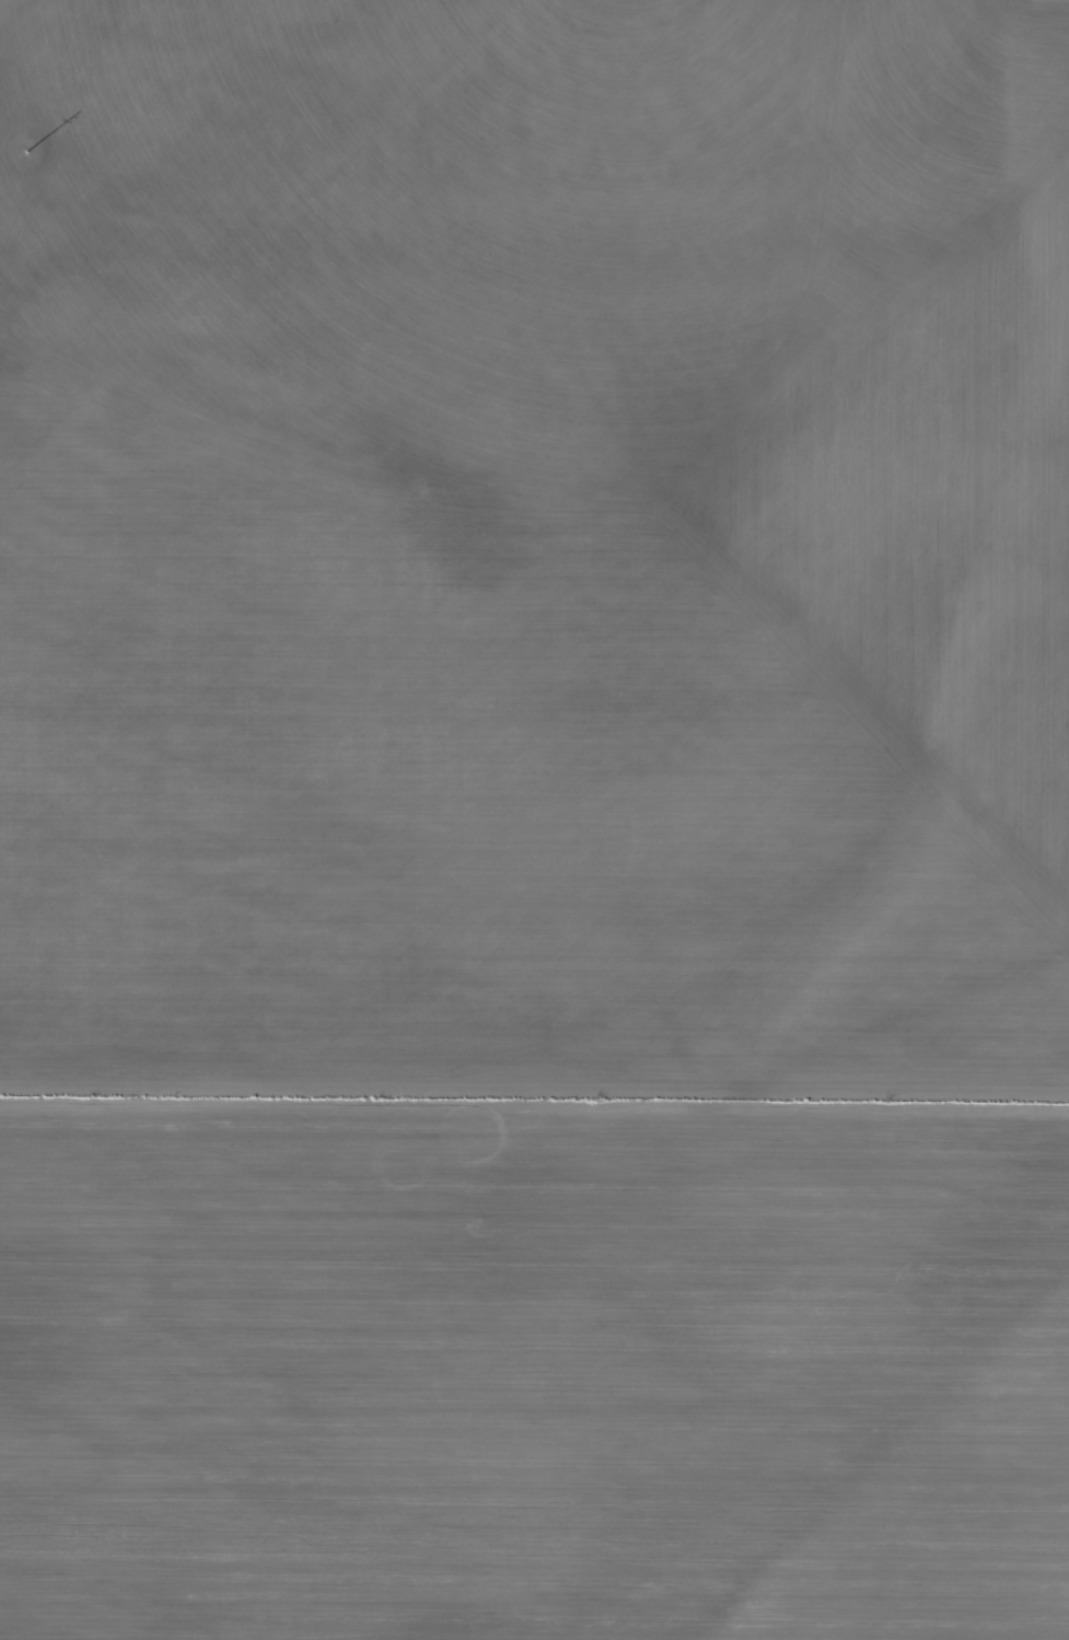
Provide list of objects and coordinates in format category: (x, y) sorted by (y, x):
power tower: (28, 148)

